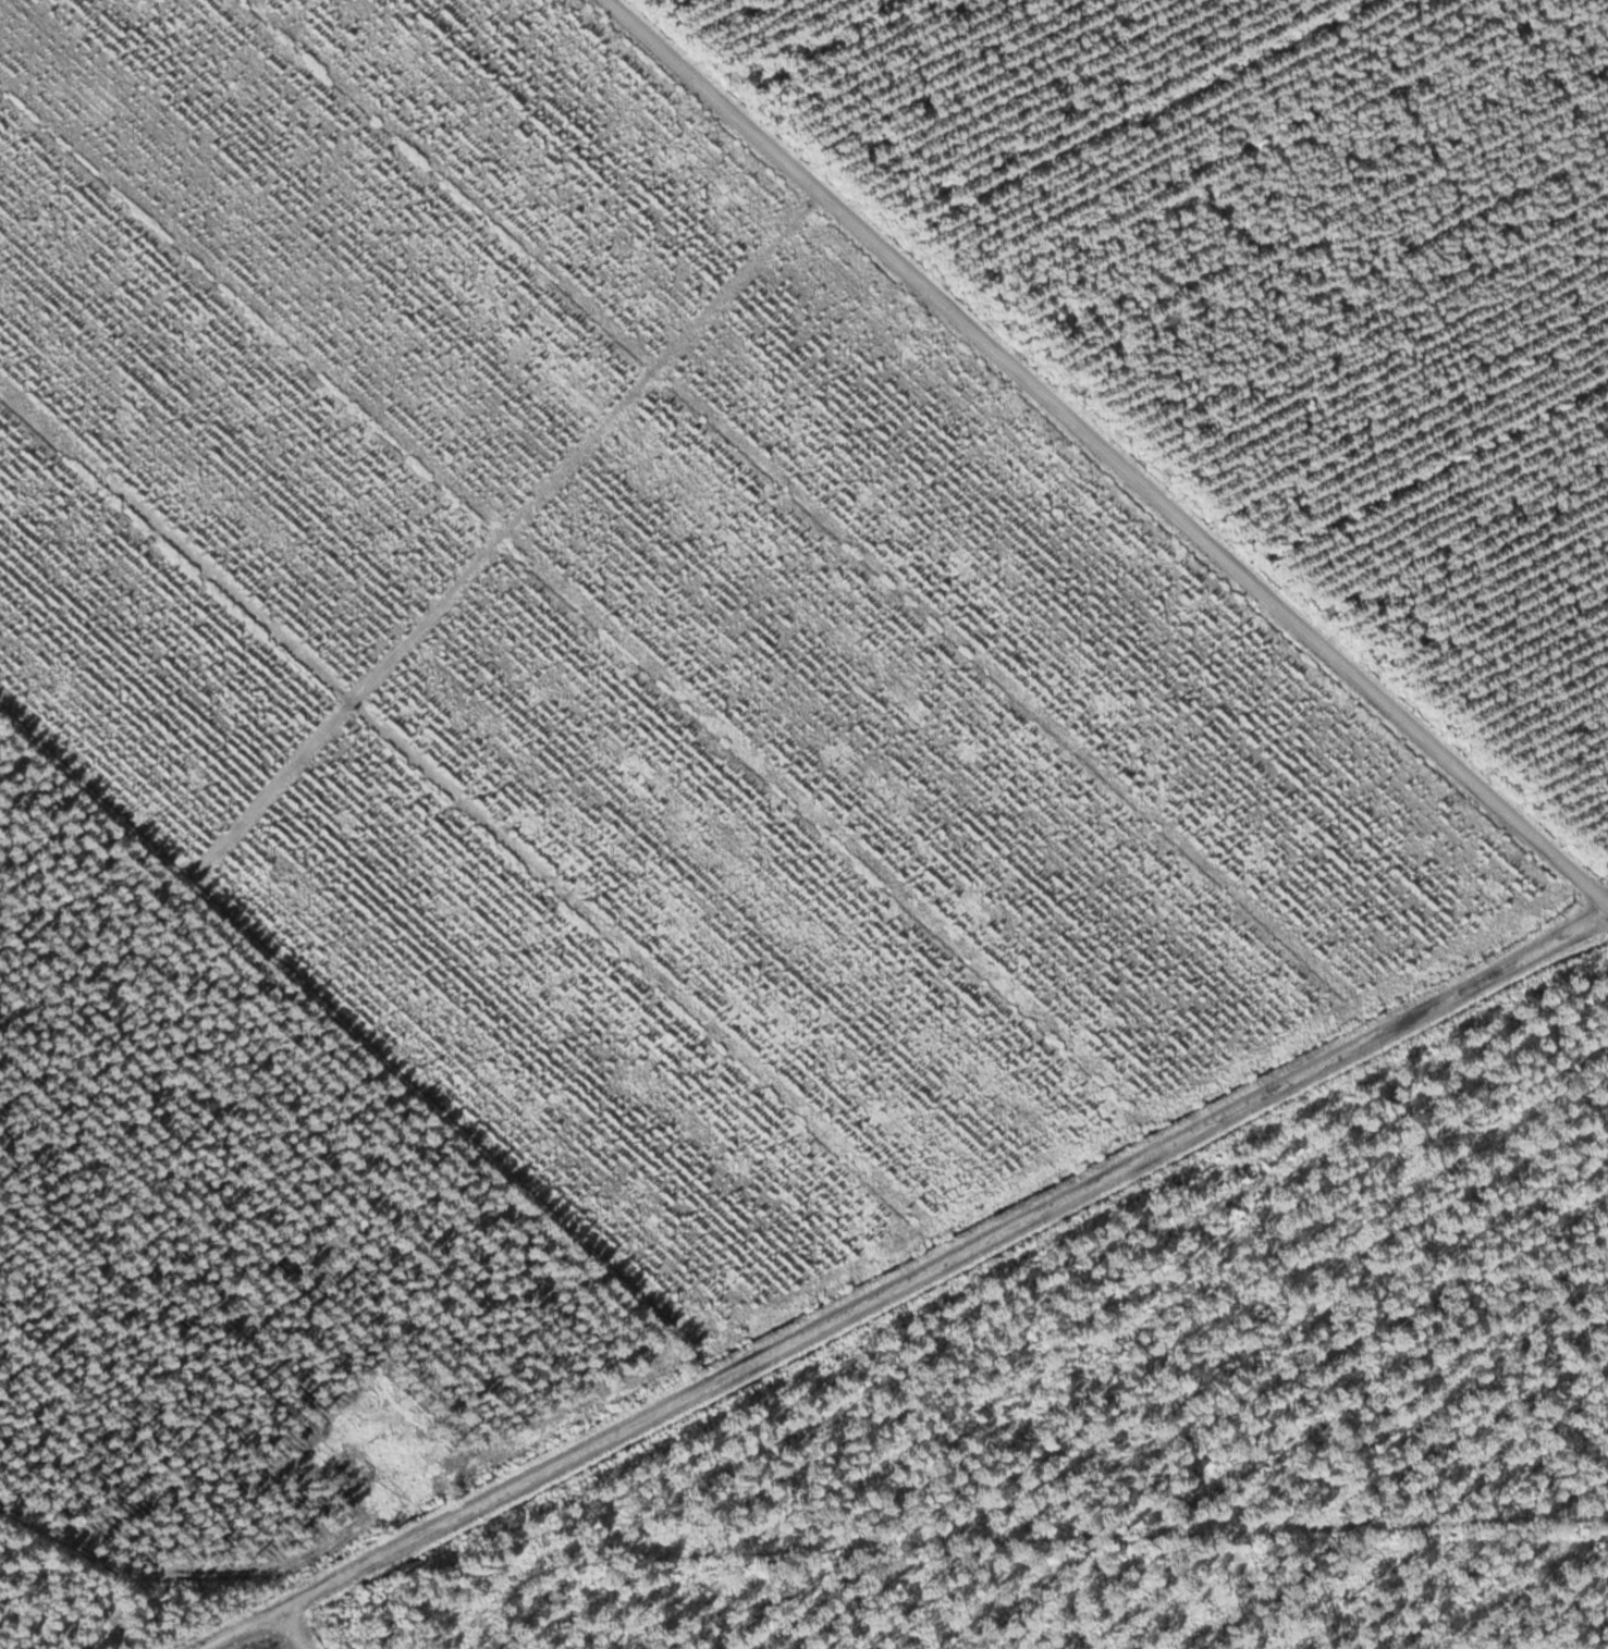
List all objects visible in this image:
road: (1109, 448)
road: (907, 1283)
road: (295, 1629)

